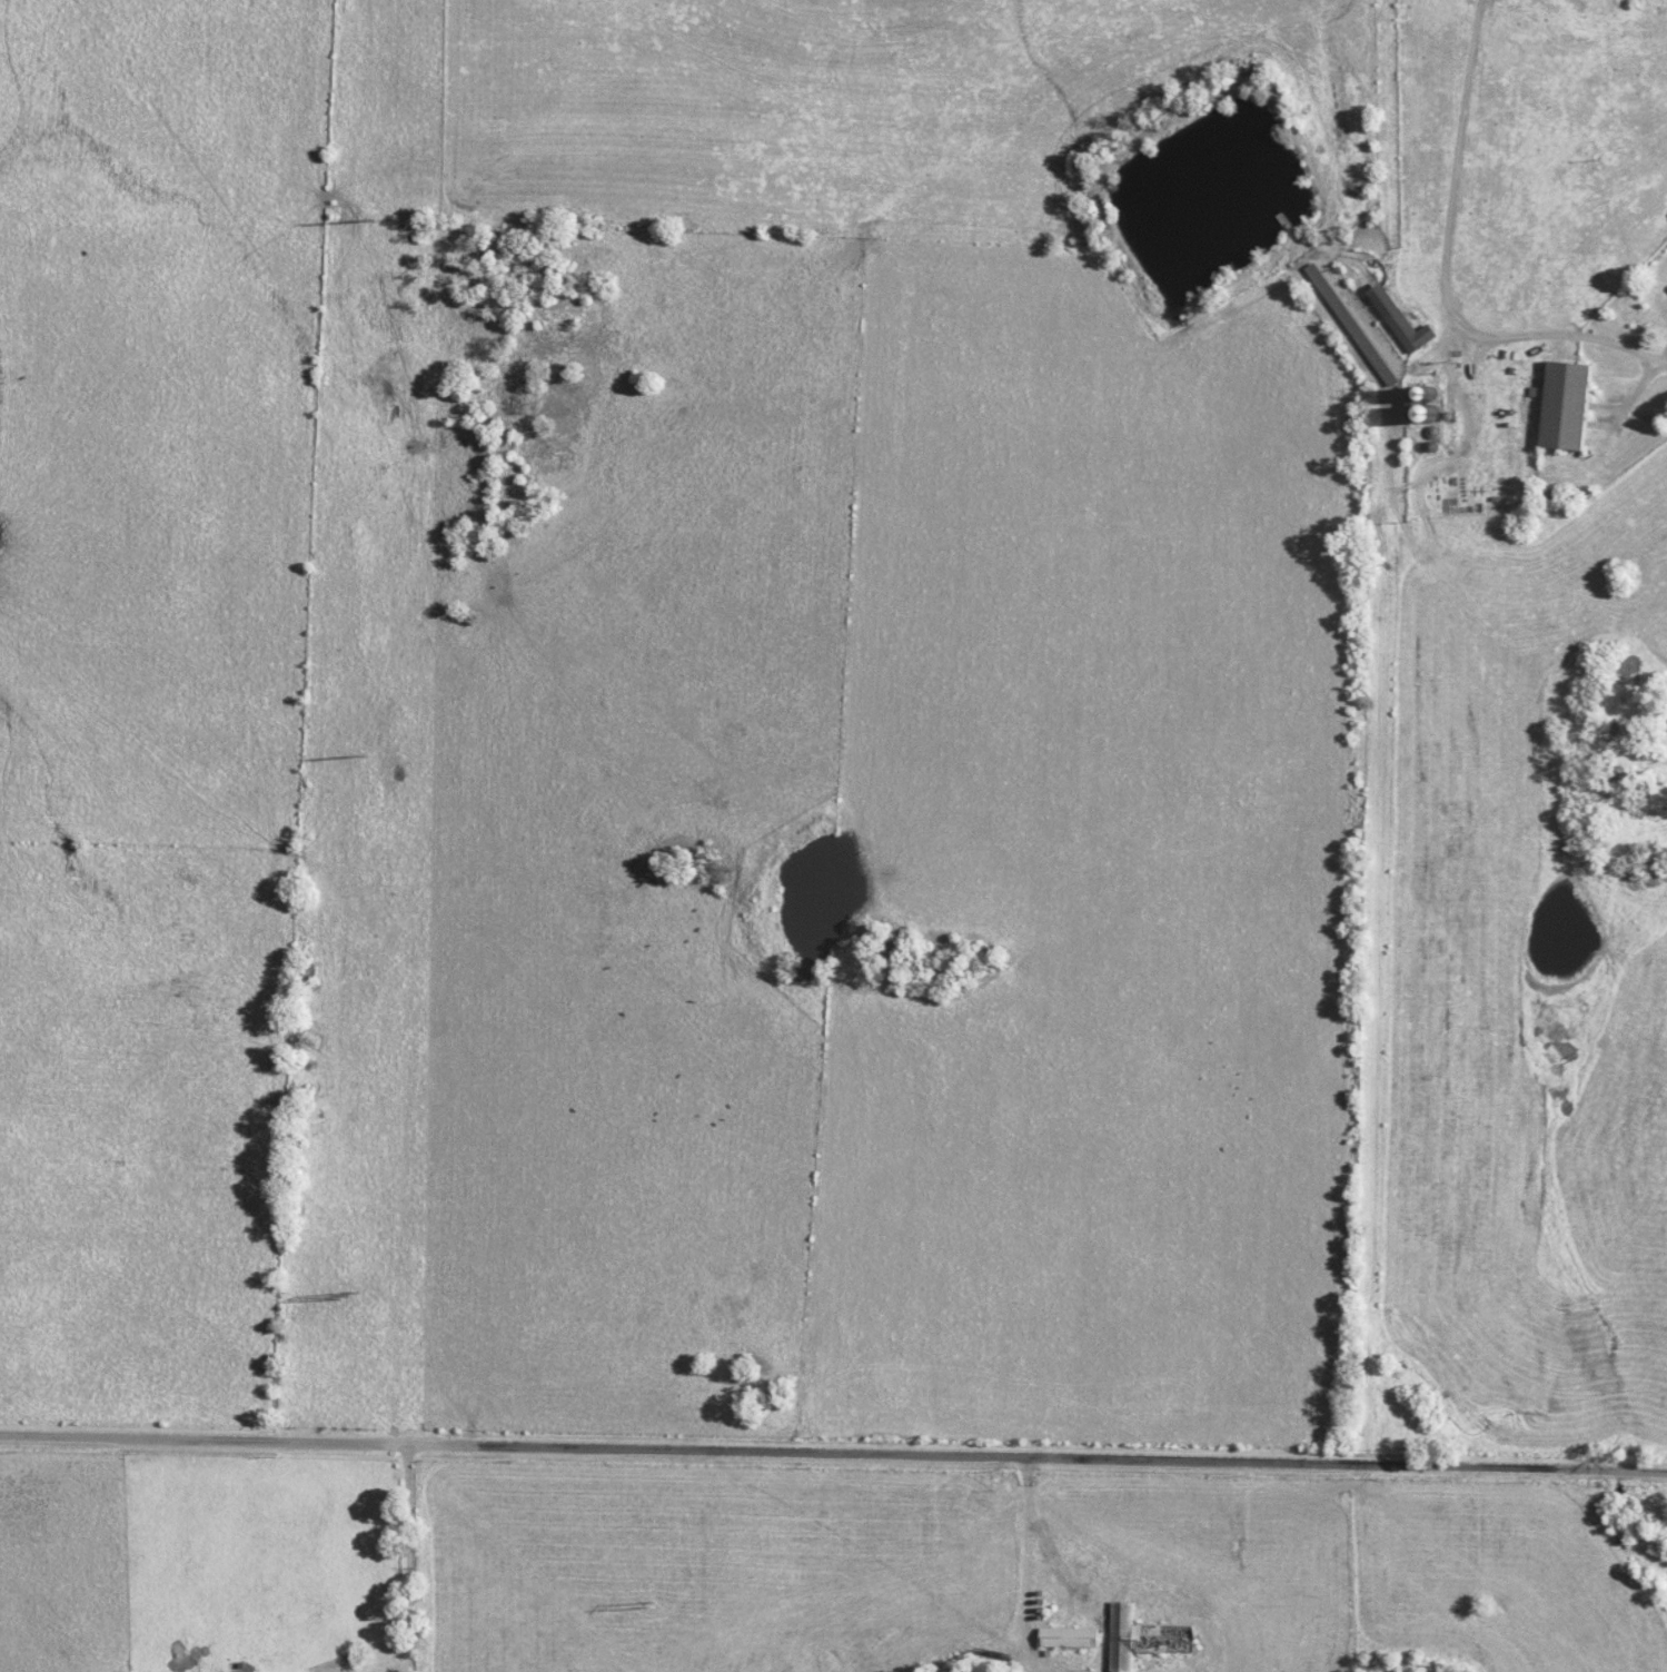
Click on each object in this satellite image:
power tower: (396, 219)
building: (1398, 320)
building: (1561, 406)
power tower: (383, 760)
power tower: (345, 1296)
road: (833, 1454)
road: (394, 1557)
power tower: (647, 1606)
building: (1065, 1638)
building: (1142, 1638)

